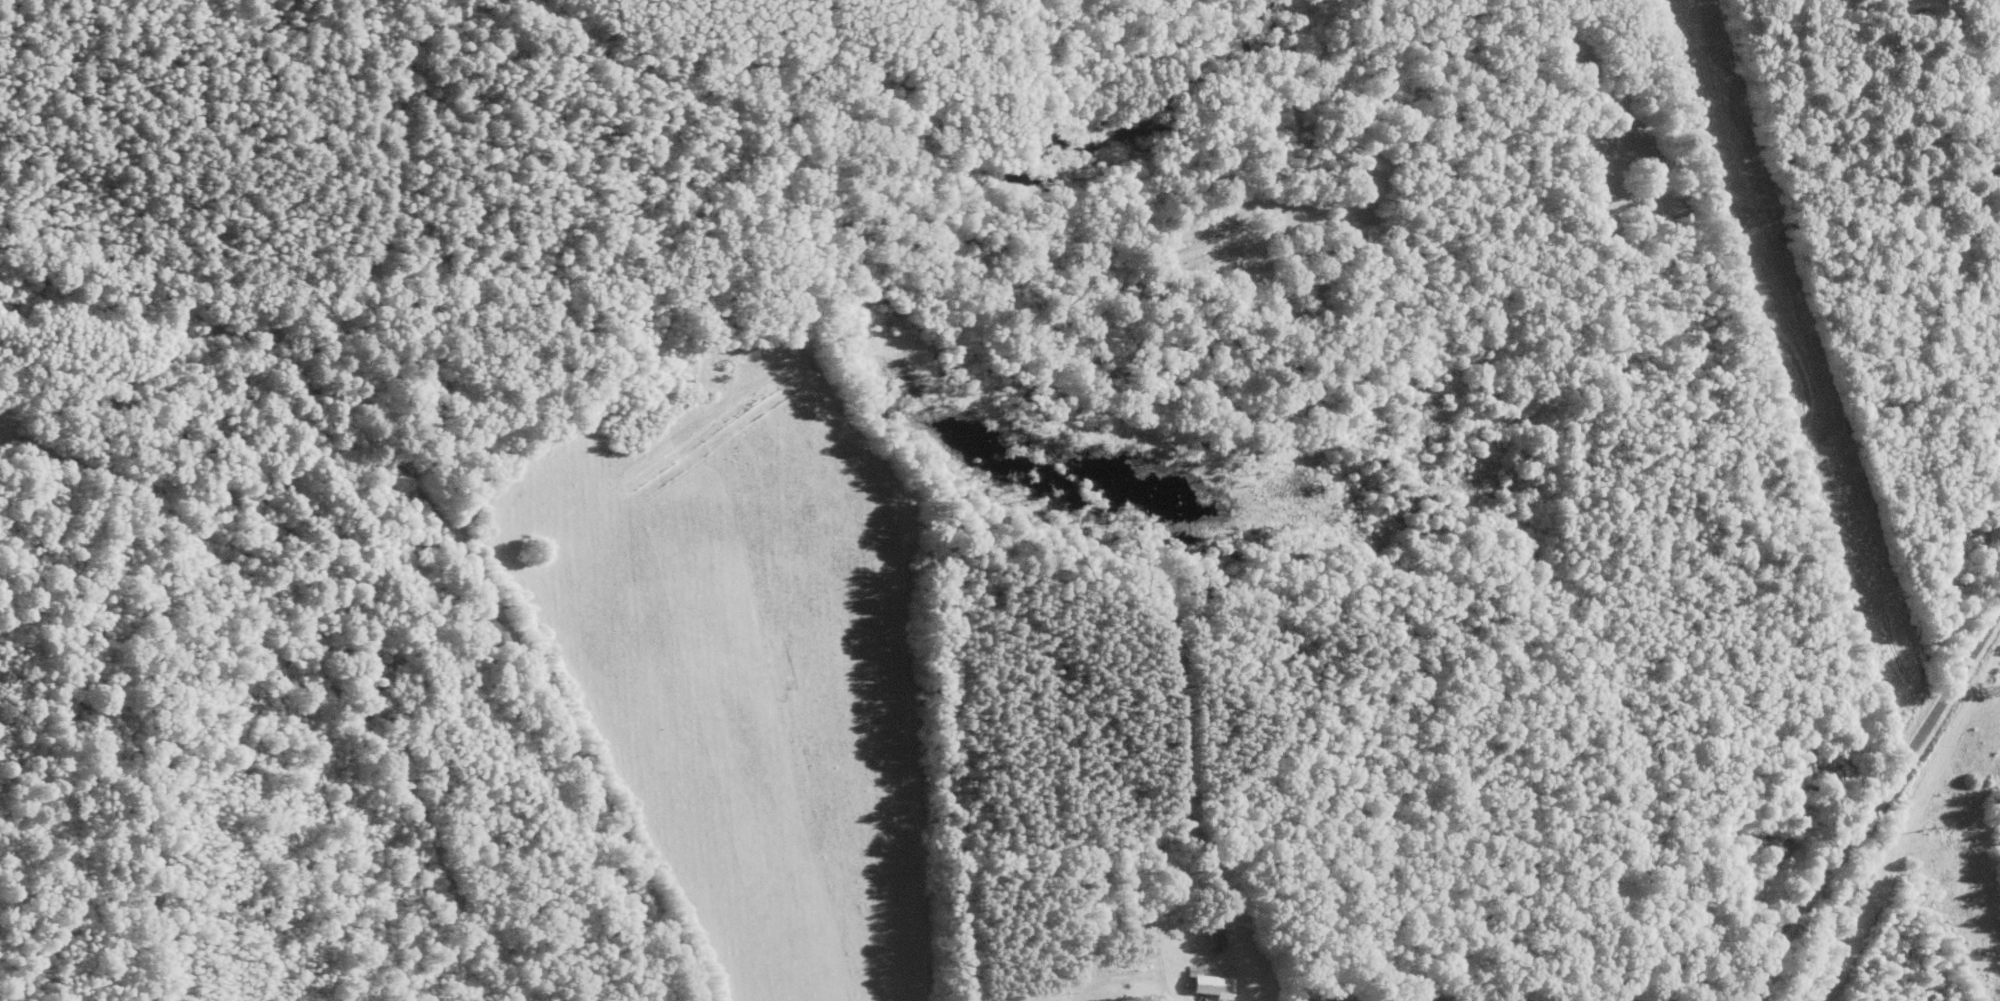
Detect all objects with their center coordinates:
road: (727, 354)
road: (1874, 793)
building: (1215, 943)
building: (1209, 987)

